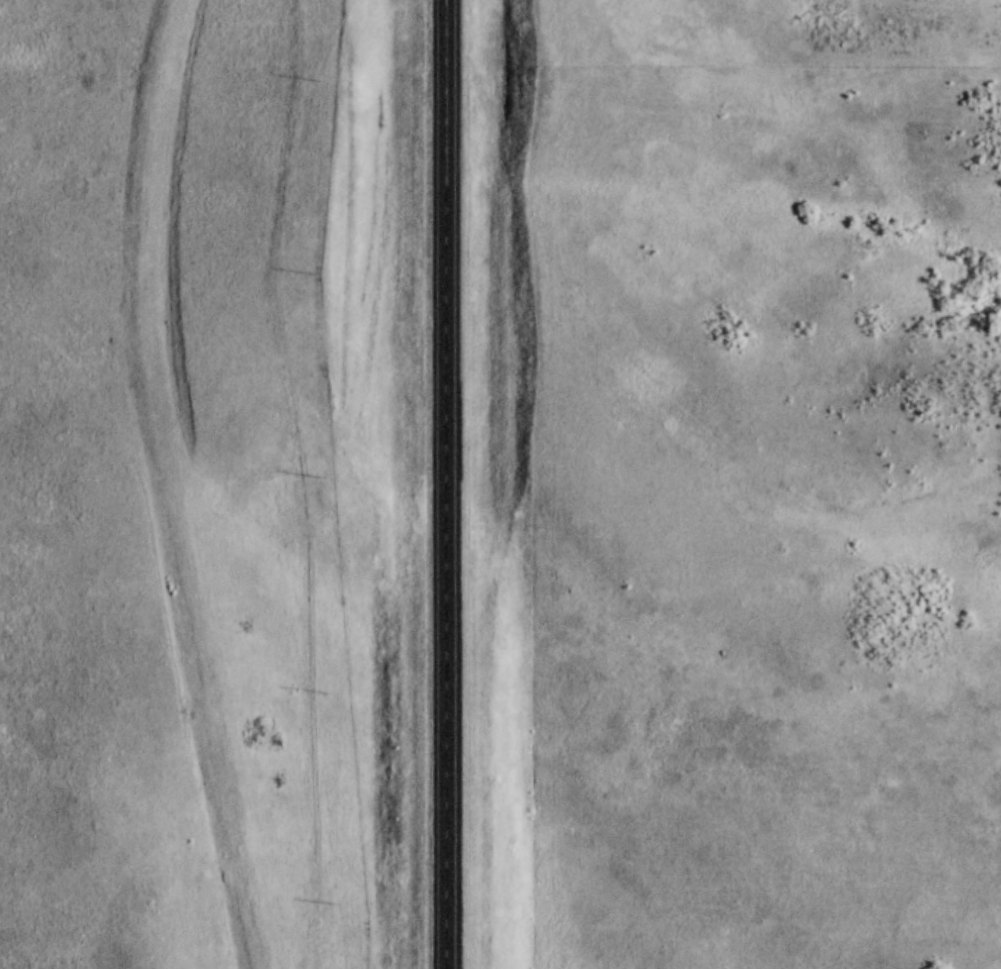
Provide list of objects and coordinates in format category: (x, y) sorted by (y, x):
road: (450, 484)

